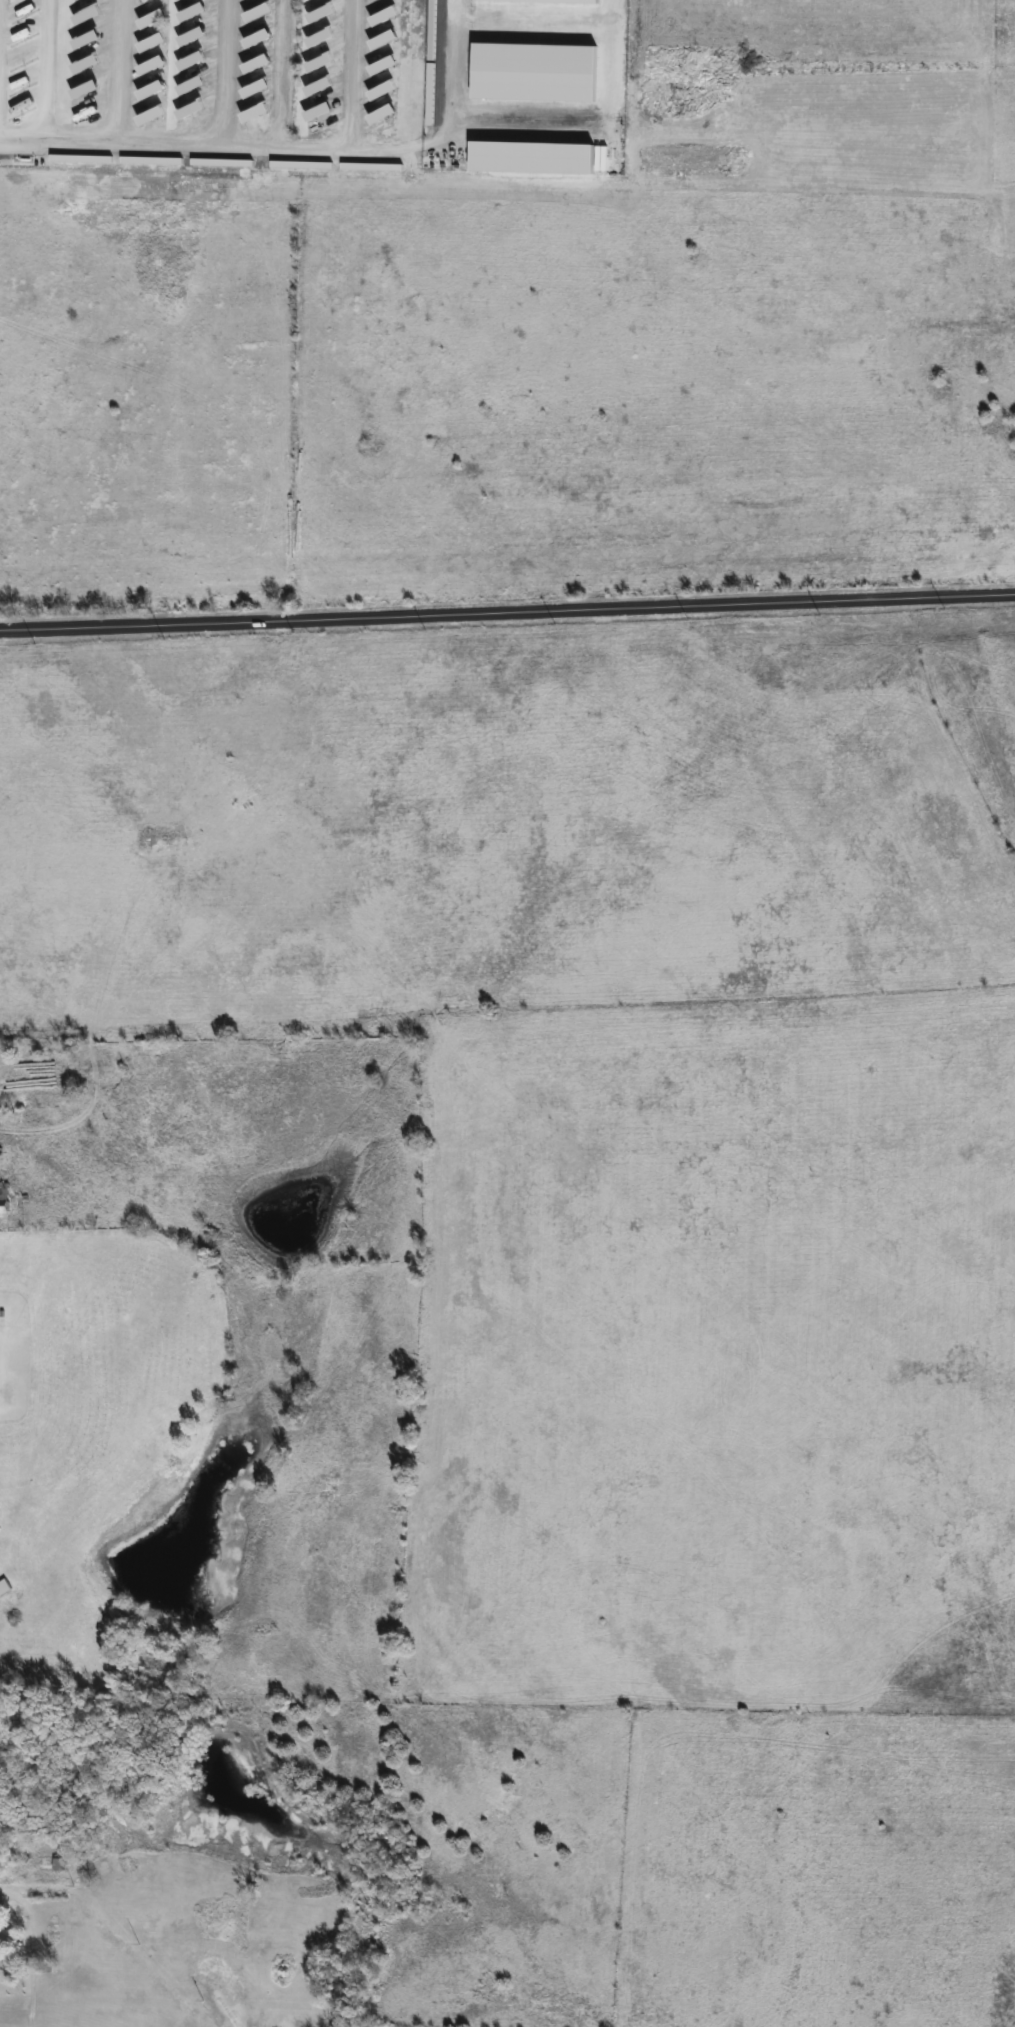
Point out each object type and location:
building: (89, 0)
road: (608, 66)
road: (45, 88)
road: (263, 142)
road: (507, 619)
road: (818, 824)
road: (620, 1073)
road: (991, 1181)
building: (3, 1200)
road: (682, 1533)
building: (44, 1866)

